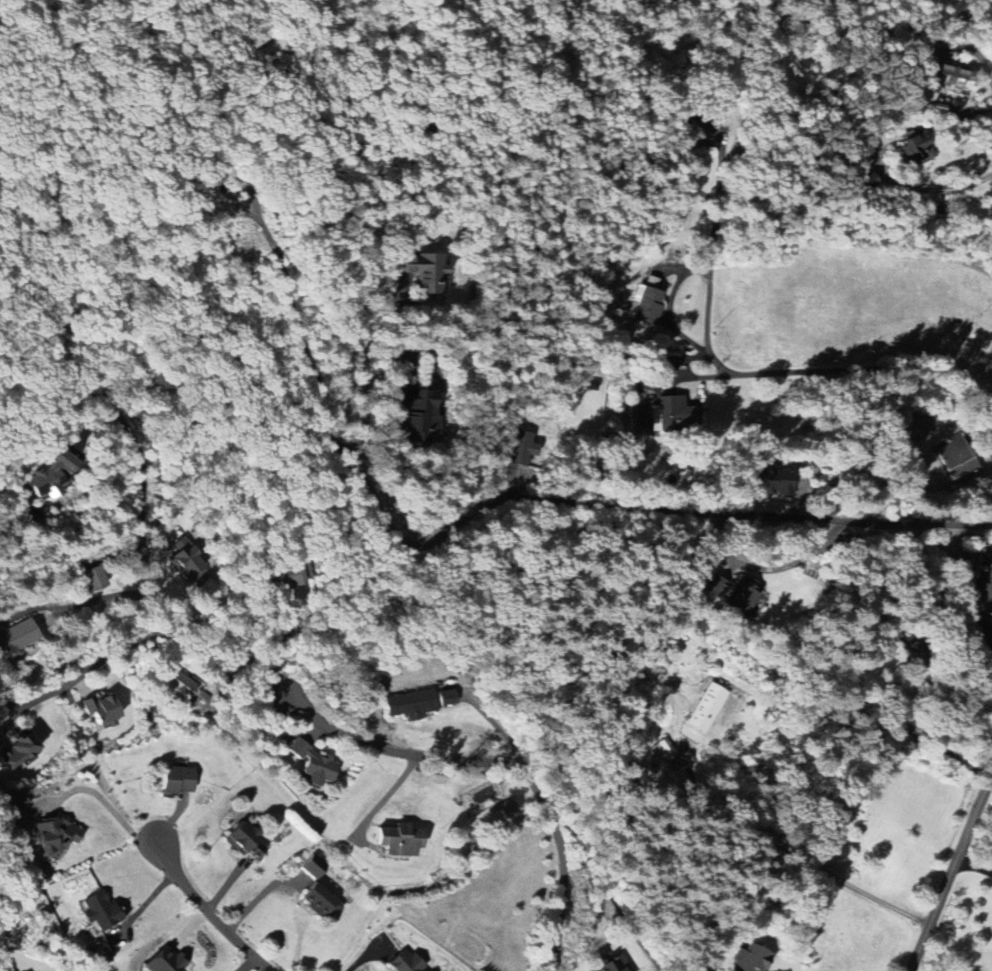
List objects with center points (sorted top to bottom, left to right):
road: (976, 113)
building: (705, 123)
building: (917, 145)
road: (720, 153)
building: (867, 181)
road: (931, 188)
building: (425, 272)
building: (646, 302)
road: (299, 328)
road: (804, 369)
building: (418, 414)
building: (672, 414)
road: (138, 448)
building: (522, 448)
building: (956, 456)
building: (50, 477)
building: (774, 481)
road: (560, 499)
building: (188, 561)
building: (286, 577)
building: (95, 579)
building: (715, 588)
building: (743, 594)
building: (987, 595)
road: (74, 603)
building: (17, 637)
road: (89, 666)
building: (184, 687)
building: (447, 697)
road: (11, 704)
building: (411, 704)
building: (707, 708)
building: (101, 709)
road: (932, 741)
road: (393, 749)
building: (662, 749)
building: (17, 751)
building: (314, 764)
building: (177, 780)
road: (107, 803)
building: (55, 836)
building: (399, 840)
building: (246, 841)
road: (806, 857)
building: (312, 867)
road: (951, 873)
building: (321, 901)
building: (99, 911)
road: (208, 913)
road: (364, 956)
building: (750, 959)
building: (164, 961)
road: (243, 962)
building: (405, 963)
building: (612, 965)

